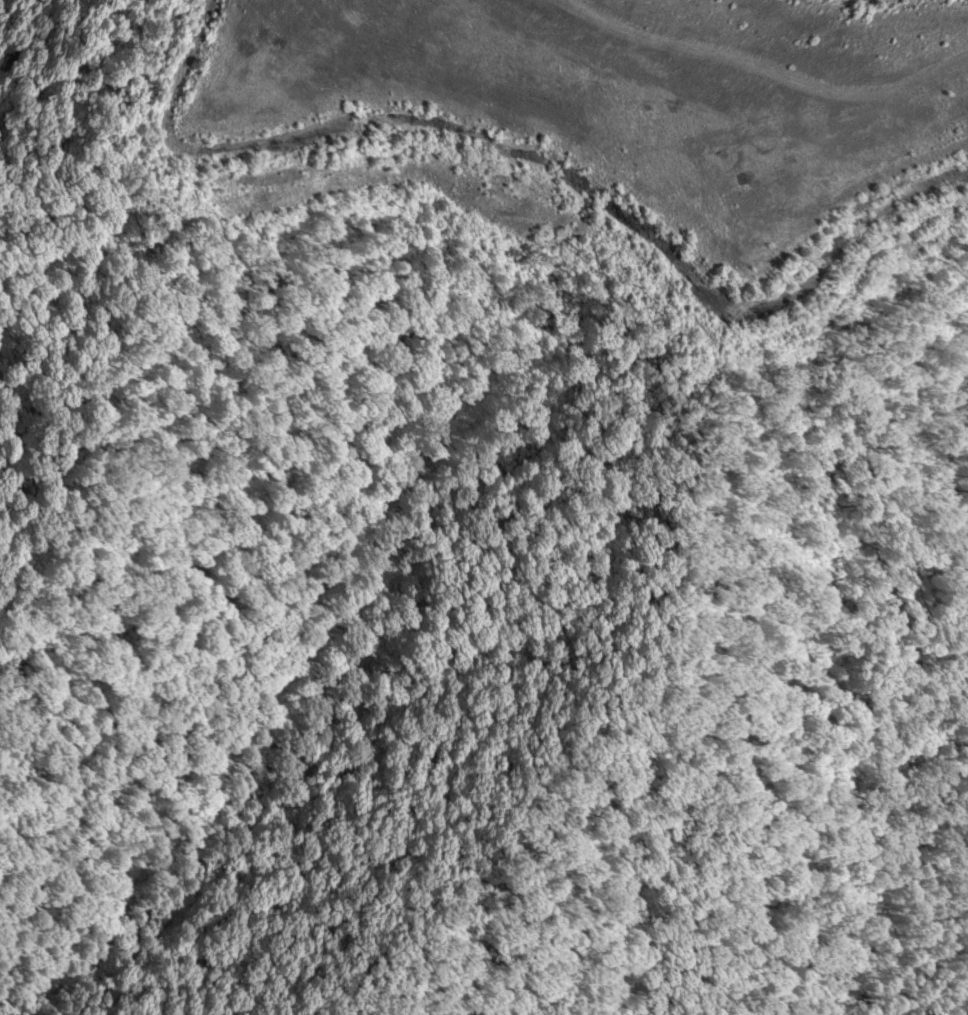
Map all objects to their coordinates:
quarry: (590, 139)

